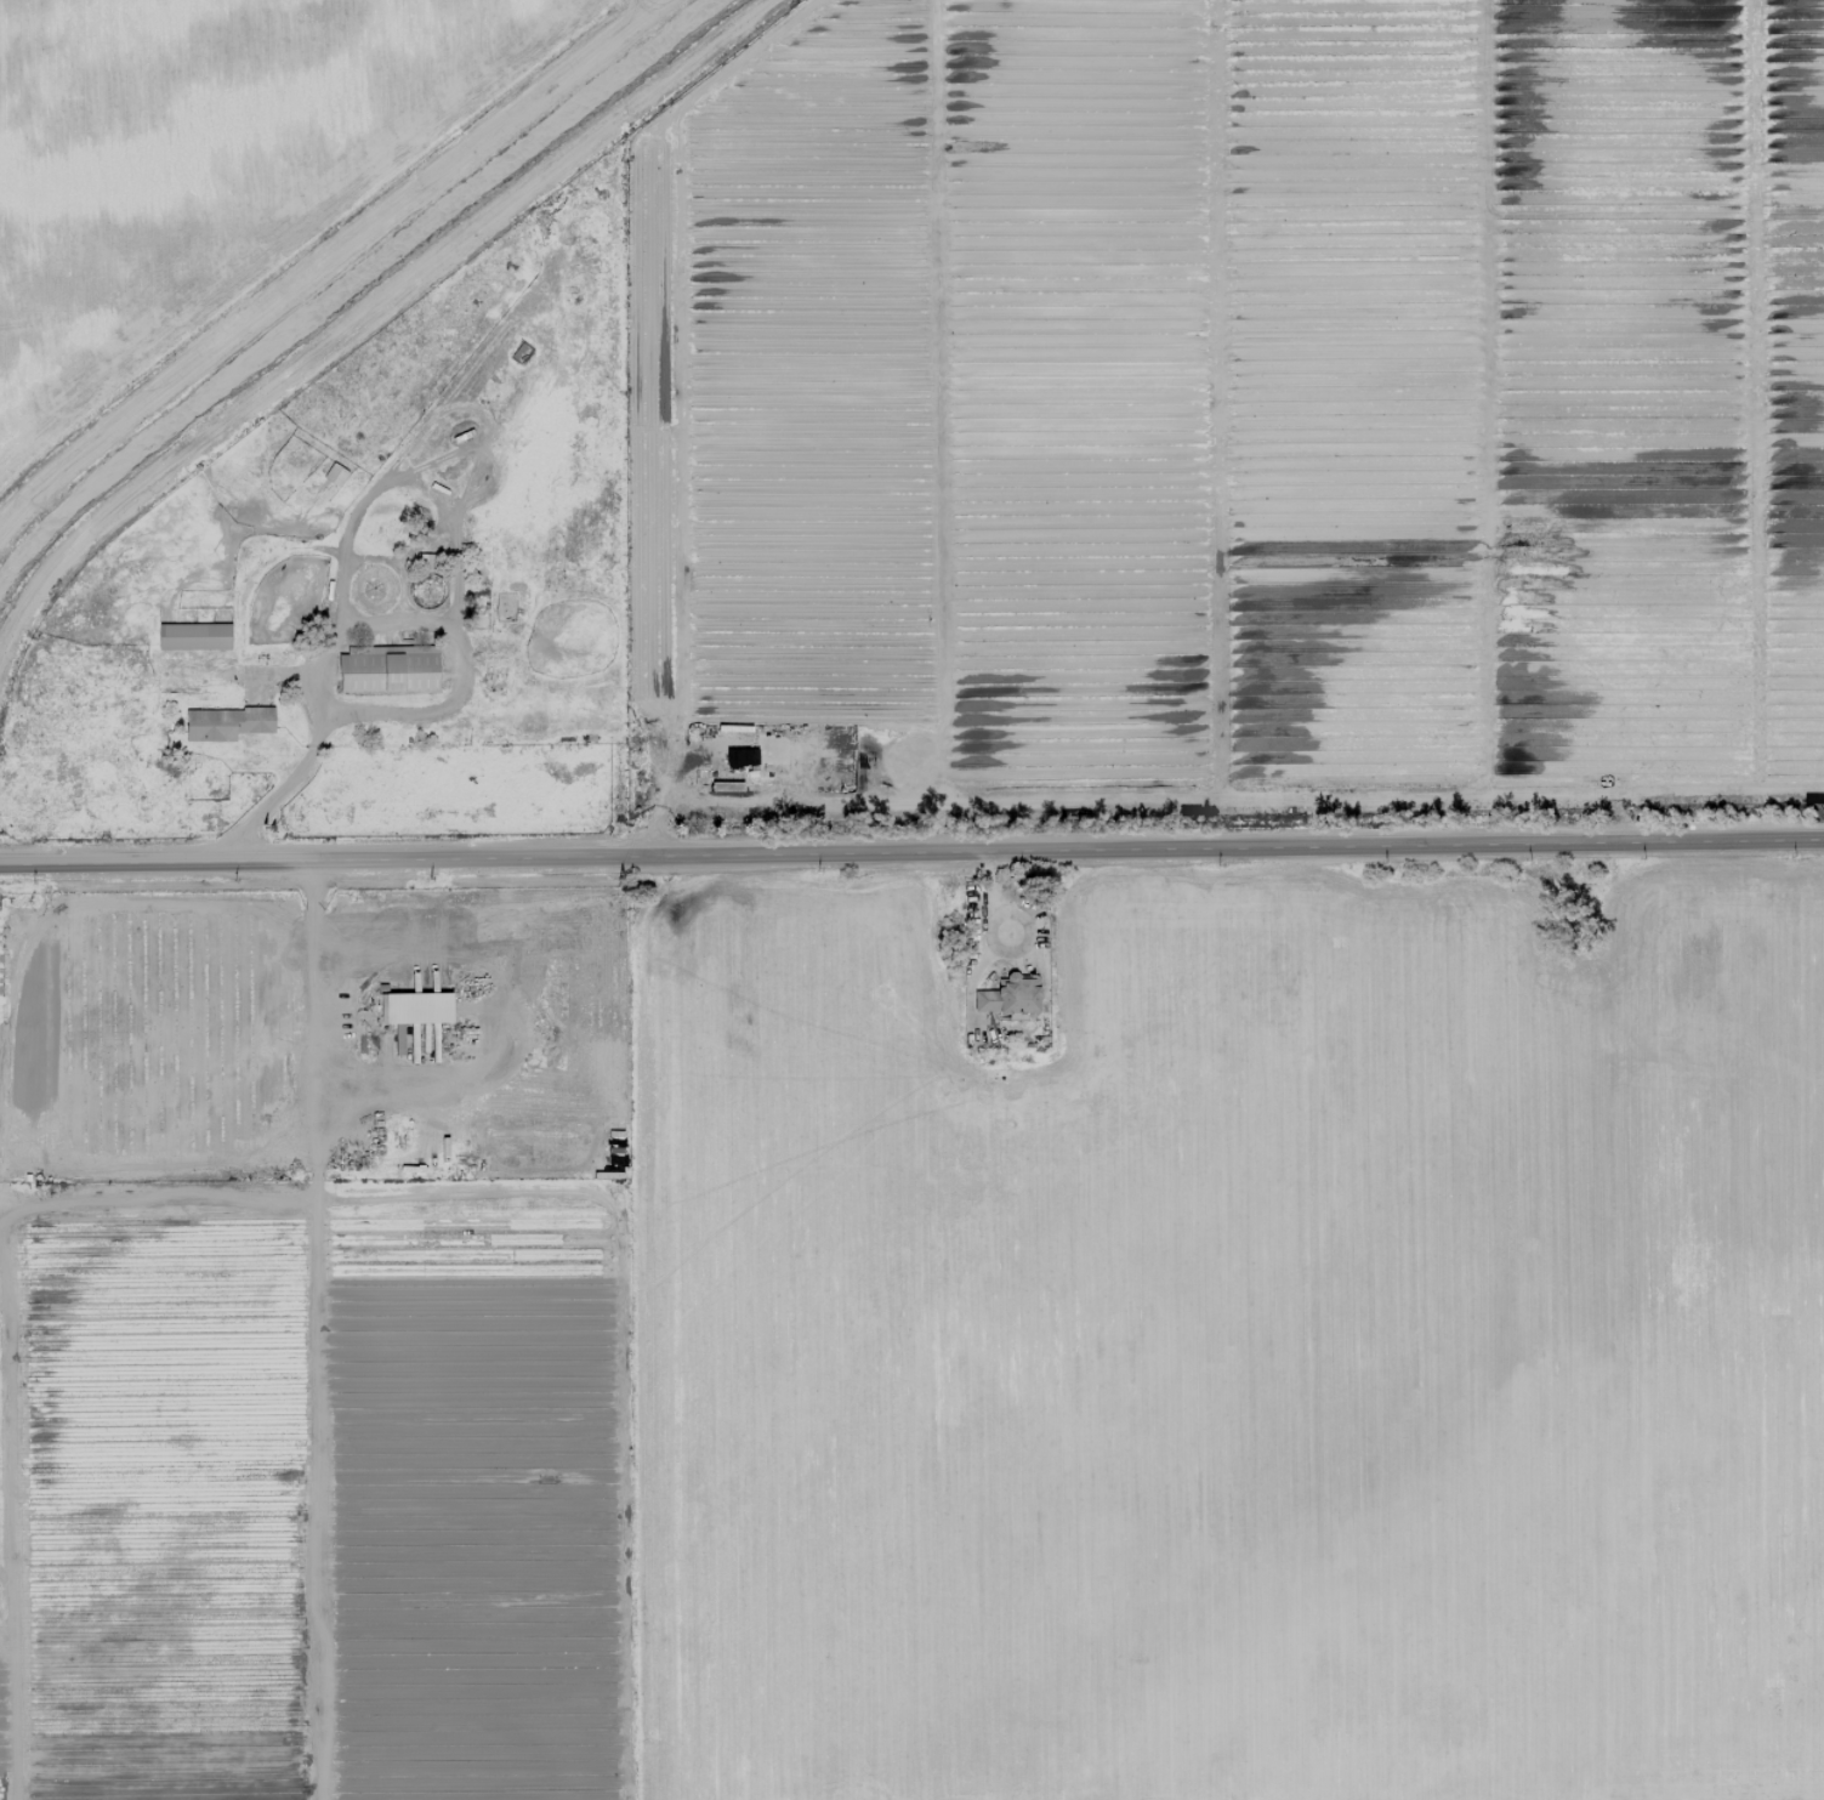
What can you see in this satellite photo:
building: (335, 475)
building: (193, 636)
building: (387, 670)
road: (438, 700)
building: (226, 723)
building: (721, 787)
road: (911, 851)
road: (991, 946)
building: (1008, 995)
building: (417, 1007)

